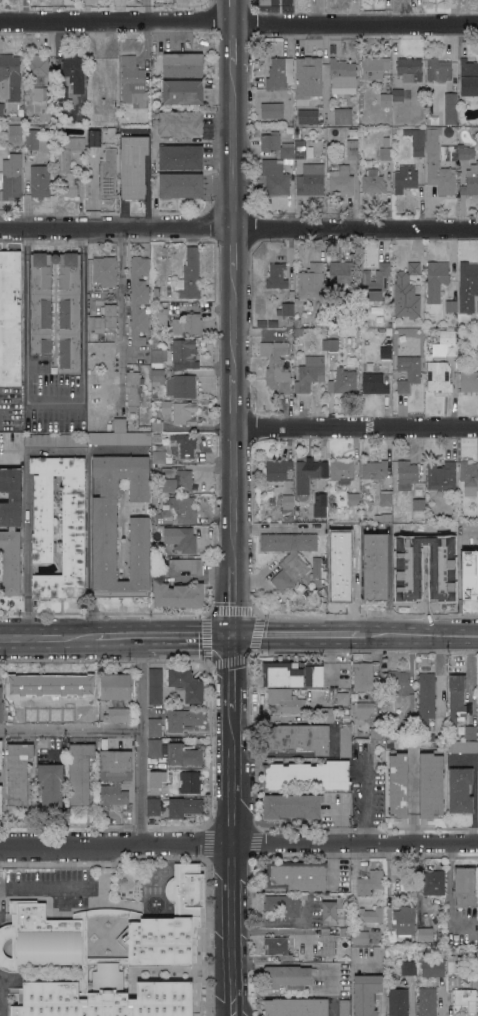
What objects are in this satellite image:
road: (231, 14)
road: (238, 28)
road: (231, 46)
building: (332, 49)
building: (154, 60)
building: (182, 65)
building: (37, 66)
building: (374, 67)
building: (72, 68)
building: (409, 69)
building: (438, 70)
building: (279, 73)
building: (308, 75)
building: (342, 76)
building: (10, 77)
building: (468, 77)
building: (132, 82)
building: (182, 92)
building: (43, 93)
building: (61, 93)
building: (397, 95)
building: (385, 100)
building: (1, 109)
building: (450, 109)
building: (271, 110)
building: (20, 111)
building: (307, 116)
building: (342, 116)
building: (13, 120)
building: (26, 122)
building: (180, 123)
building: (352, 132)
building: (14, 135)
building: (109, 136)
building: (93, 138)
building: (30, 139)
building: (385, 141)
building: (416, 141)
building: (60, 142)
building: (74, 142)
building: (276, 145)
road: (231, 148)
building: (302, 149)
building: (352, 150)
building: (464, 152)
building: (447, 153)
building: (385, 154)
building: (180, 157)
building: (437, 164)
building: (133, 166)
building: (65, 174)
building: (107, 174)
building: (274, 177)
building: (404, 178)
building: (310, 180)
building: (341, 180)
building: (40, 181)
building: (259, 181)
building: (470, 181)
building: (11, 182)
building: (373, 182)
building: (180, 185)
building: (259, 188)
road: (424, 211)
road: (238, 232)
road: (231, 251)
building: (103, 271)
building: (437, 272)
building: (340, 274)
building: (189, 275)
building: (276, 276)
building: (375, 281)
building: (467, 286)
building: (312, 289)
road: (121, 293)
building: (406, 293)
building: (138, 299)
building: (351, 304)
building: (451, 306)
building: (477, 306)
building: (40, 308)
building: (285, 309)
road: (25, 315)
road: (82, 315)
building: (10, 318)
building: (103, 319)
building: (161, 319)
road: (231, 321)
building: (192, 323)
building: (297, 323)
building: (176, 326)
building: (298, 331)
building: (291, 336)
building: (154, 340)
building: (324, 344)
building: (332, 344)
building: (153, 346)
building: (451, 347)
building: (477, 348)
building: (428, 351)
building: (385, 352)
building: (183, 353)
building: (157, 357)
building: (276, 366)
building: (407, 370)
building: (309, 374)
building: (438, 377)
building: (157, 378)
building: (373, 379)
building: (342, 381)
building: (469, 381)
building: (181, 386)
building: (133, 389)
building: (154, 395)
road: (231, 400)
road: (54, 401)
building: (166, 404)
parking lot: (10, 408)
building: (184, 413)
building: (119, 425)
building: (157, 426)
road: (354, 428)
building: (120, 438)
building: (55, 440)
building: (186, 445)
road: (5, 455)
building: (158, 457)
building: (197, 467)
building: (277, 469)
building: (341, 469)
building: (374, 469)
building: (307, 473)
building: (406, 474)
building: (441, 475)
building: (469, 477)
building: (173, 480)
road: (231, 496)
building: (385, 498)
building: (353, 499)
building: (271, 501)
building: (320, 501)
building: (73, 504)
building: (418, 504)
building: (287, 505)
building: (427, 507)
building: (178, 511)
building: (383, 517)
road: (26, 518)
building: (289, 519)
road: (477, 529)
building: (10, 530)
building: (104, 532)
building: (354, 535)
building: (180, 539)
building: (288, 556)
building: (187, 566)
building: (375, 566)
building: (316, 567)
building: (469, 575)
building: (344, 580)
building: (178, 595)
road: (231, 603)
road: (419, 638)
road: (47, 639)
road: (118, 639)
road: (295, 639)
road: (187, 640)
traffic signals: (231, 640)
road: (329, 660)
building: (477, 672)
building: (292, 673)
road: (230, 675)
building: (364, 678)
building: (398, 682)
building: (50, 684)
building: (186, 684)
building: (115, 686)
building: (154, 686)
building: (341, 697)
building: (426, 697)
building: (456, 699)
building: (285, 701)
building: (0, 707)
building: (363, 711)
building: (324, 714)
building: (22, 715)
building: (76, 715)
building: (117, 715)
road: (266, 718)
building: (182, 719)
building: (408, 726)
building: (154, 727)
building: (377, 733)
building: (468, 733)
road: (71, 734)
building: (431, 737)
building: (297, 738)
building: (345, 741)
road: (141, 742)
building: (387, 745)
building: (462, 747)
building: (154, 748)
building: (183, 755)
building: (1, 756)
building: (17, 772)
building: (79, 772)
building: (114, 776)
building: (306, 776)
building: (156, 781)
building: (189, 782)
building: (397, 785)
building: (430, 785)
building: (50, 787)
building: (460, 790)
road: (412, 796)
building: (0, 798)
building: (153, 806)
building: (184, 806)
building: (291, 806)
road: (363, 806)
road: (239, 845)
road: (230, 863)
building: (296, 876)
building: (433, 882)
building: (369, 883)
road: (43, 885)
building: (464, 887)
road: (448, 892)
building: (283, 904)
building: (329, 912)
building: (371, 915)
building: (177, 919)
building: (401, 924)
building: (8, 932)
building: (424, 934)
building: (48, 936)
building: (360, 937)
building: (329, 940)
building: (136, 942)
building: (280, 946)
building: (452, 966)
building: (408, 967)
building: (433, 968)
building: (287, 977)
building: (366, 994)
building: (169, 998)
building: (465, 999)
building: (42, 1000)
building: (86, 1002)
building: (127, 1002)
building: (398, 1002)
building: (427, 1002)
road: (443, 1004)
building: (295, 1007)
building: (344, 1007)

